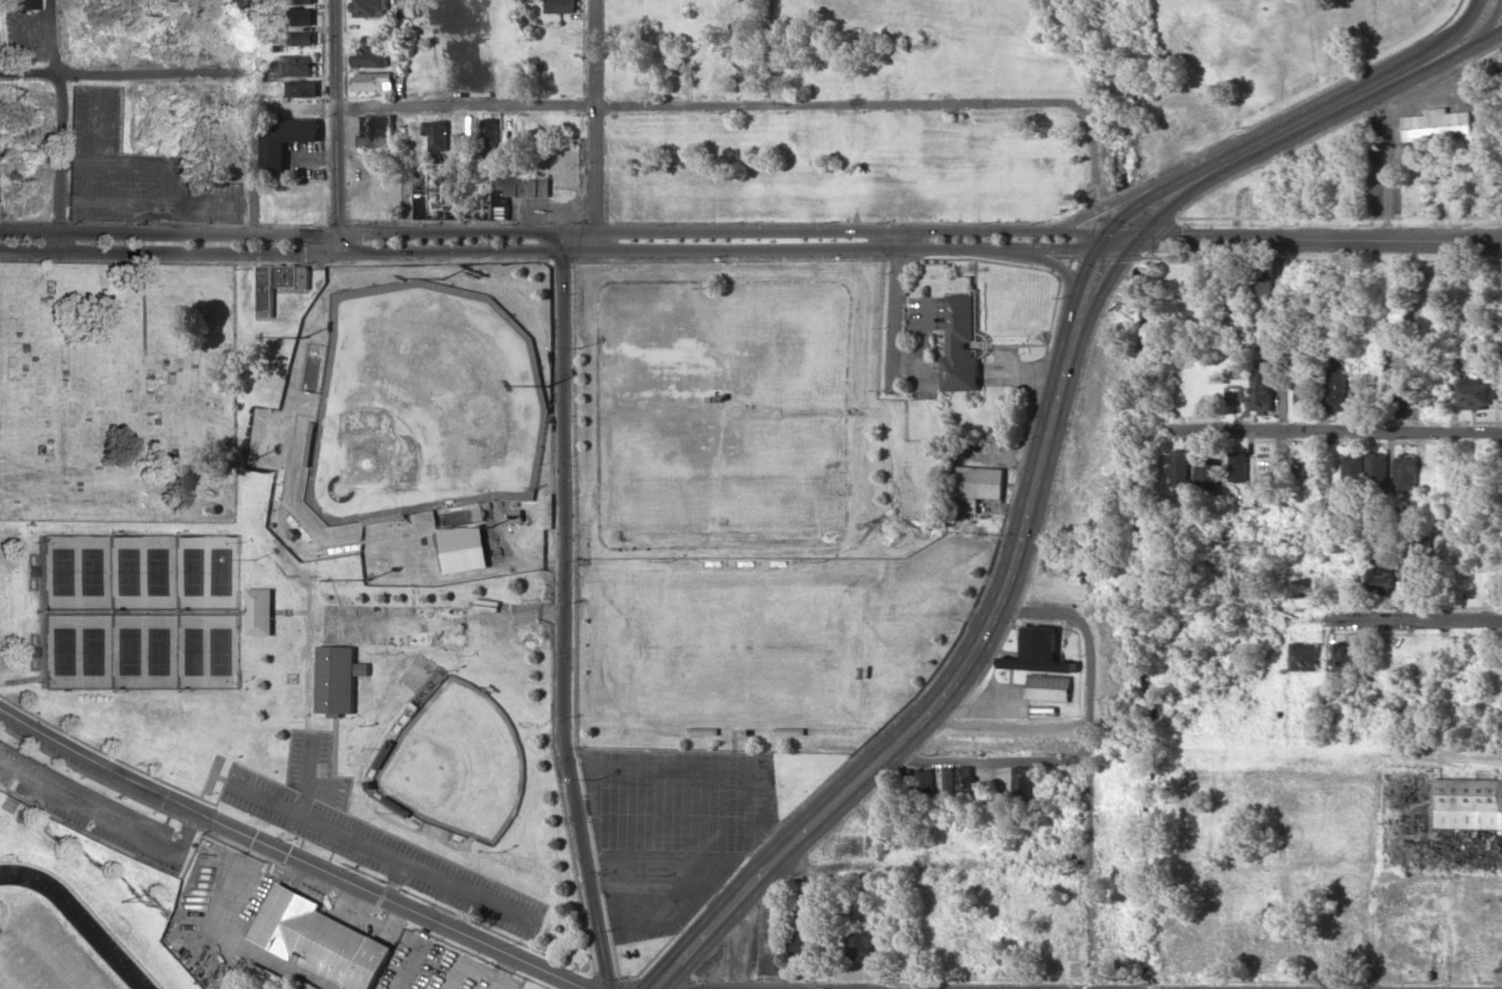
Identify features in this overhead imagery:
building: (297, 2)
building: (19, 4)
building: (561, 6)
building: (369, 8)
building: (298, 16)
road: (1492, 36)
building: (298, 39)
road: (1440, 42)
road: (1460, 53)
building: (371, 57)
building: (294, 66)
building: (1495, 74)
road: (116, 75)
building: (258, 75)
building: (373, 82)
building: (302, 89)
road: (711, 106)
road: (57, 125)
road: (335, 125)
road: (1303, 126)
building: (1438, 127)
building: (377, 131)
building: (488, 132)
building: (437, 135)
building: (284, 140)
road: (1094, 156)
road: (251, 190)
building: (518, 191)
road: (1125, 198)
building: (424, 199)
road: (1130, 231)
road: (560, 232)
traffic signals: (1120, 241)
road: (1311, 242)
road: (560, 251)
road: (1063, 272)
building: (277, 284)
road: (895, 313)
building: (961, 346)
building: (1334, 381)
building: (1362, 389)
building: (1263, 393)
building: (1302, 394)
building: (1501, 396)
building: (1400, 399)
park: (423, 404)
road: (1340, 430)
building: (1376, 465)
building: (1352, 466)
building: (1238, 467)
building: (1180, 468)
building: (1208, 473)
building: (1406, 474)
building: (977, 486)
road: (564, 489)
road: (1263, 534)
building: (463, 549)
building: (1419, 559)
building: (1379, 577)
building: (1302, 585)
park: (142, 611)
building: (261, 612)
road: (1039, 614)
road: (1404, 623)
building: (395, 626)
building: (1039, 652)
building: (1304, 657)
building: (1345, 658)
building: (338, 677)
building: (1049, 688)
road: (940, 696)
road: (985, 759)
park: (457, 763)
road: (313, 775)
building: (964, 777)
building: (948, 779)
building: (1021, 780)
building: (925, 782)
road: (323, 790)
parking lot: (92, 800)
road: (759, 800)
building: (1470, 804)
road: (593, 805)
road: (1092, 805)
road: (720, 807)
road: (107, 819)
road: (687, 824)
parking lot: (673, 829)
parking lot: (372, 837)
road: (652, 840)
road: (614, 844)
road: (385, 853)
road: (294, 855)
road: (930, 867)
road: (396, 879)
road: (242, 887)
road: (395, 916)
track: (77, 921)
road: (390, 930)
building: (319, 940)
building: (861, 943)
building: (801, 946)
park: (43, 957)
road: (279, 961)
road: (467, 962)
parking lot: (438, 968)
road: (503, 970)
traffic signals: (655, 988)

